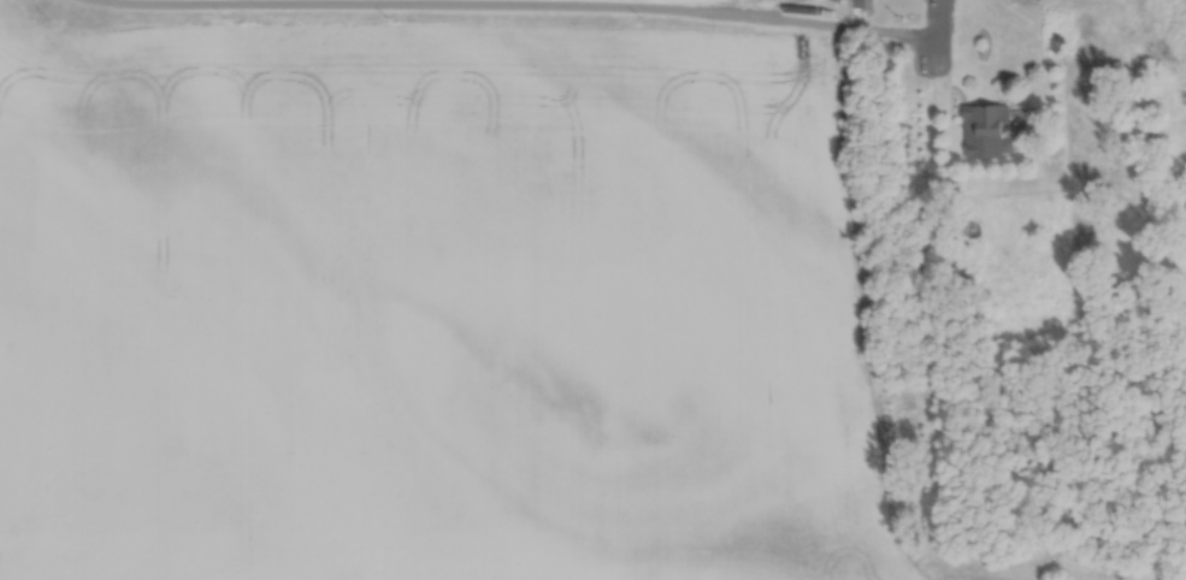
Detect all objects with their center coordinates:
building: (866, 2)
road: (490, 12)
building: (997, 118)

